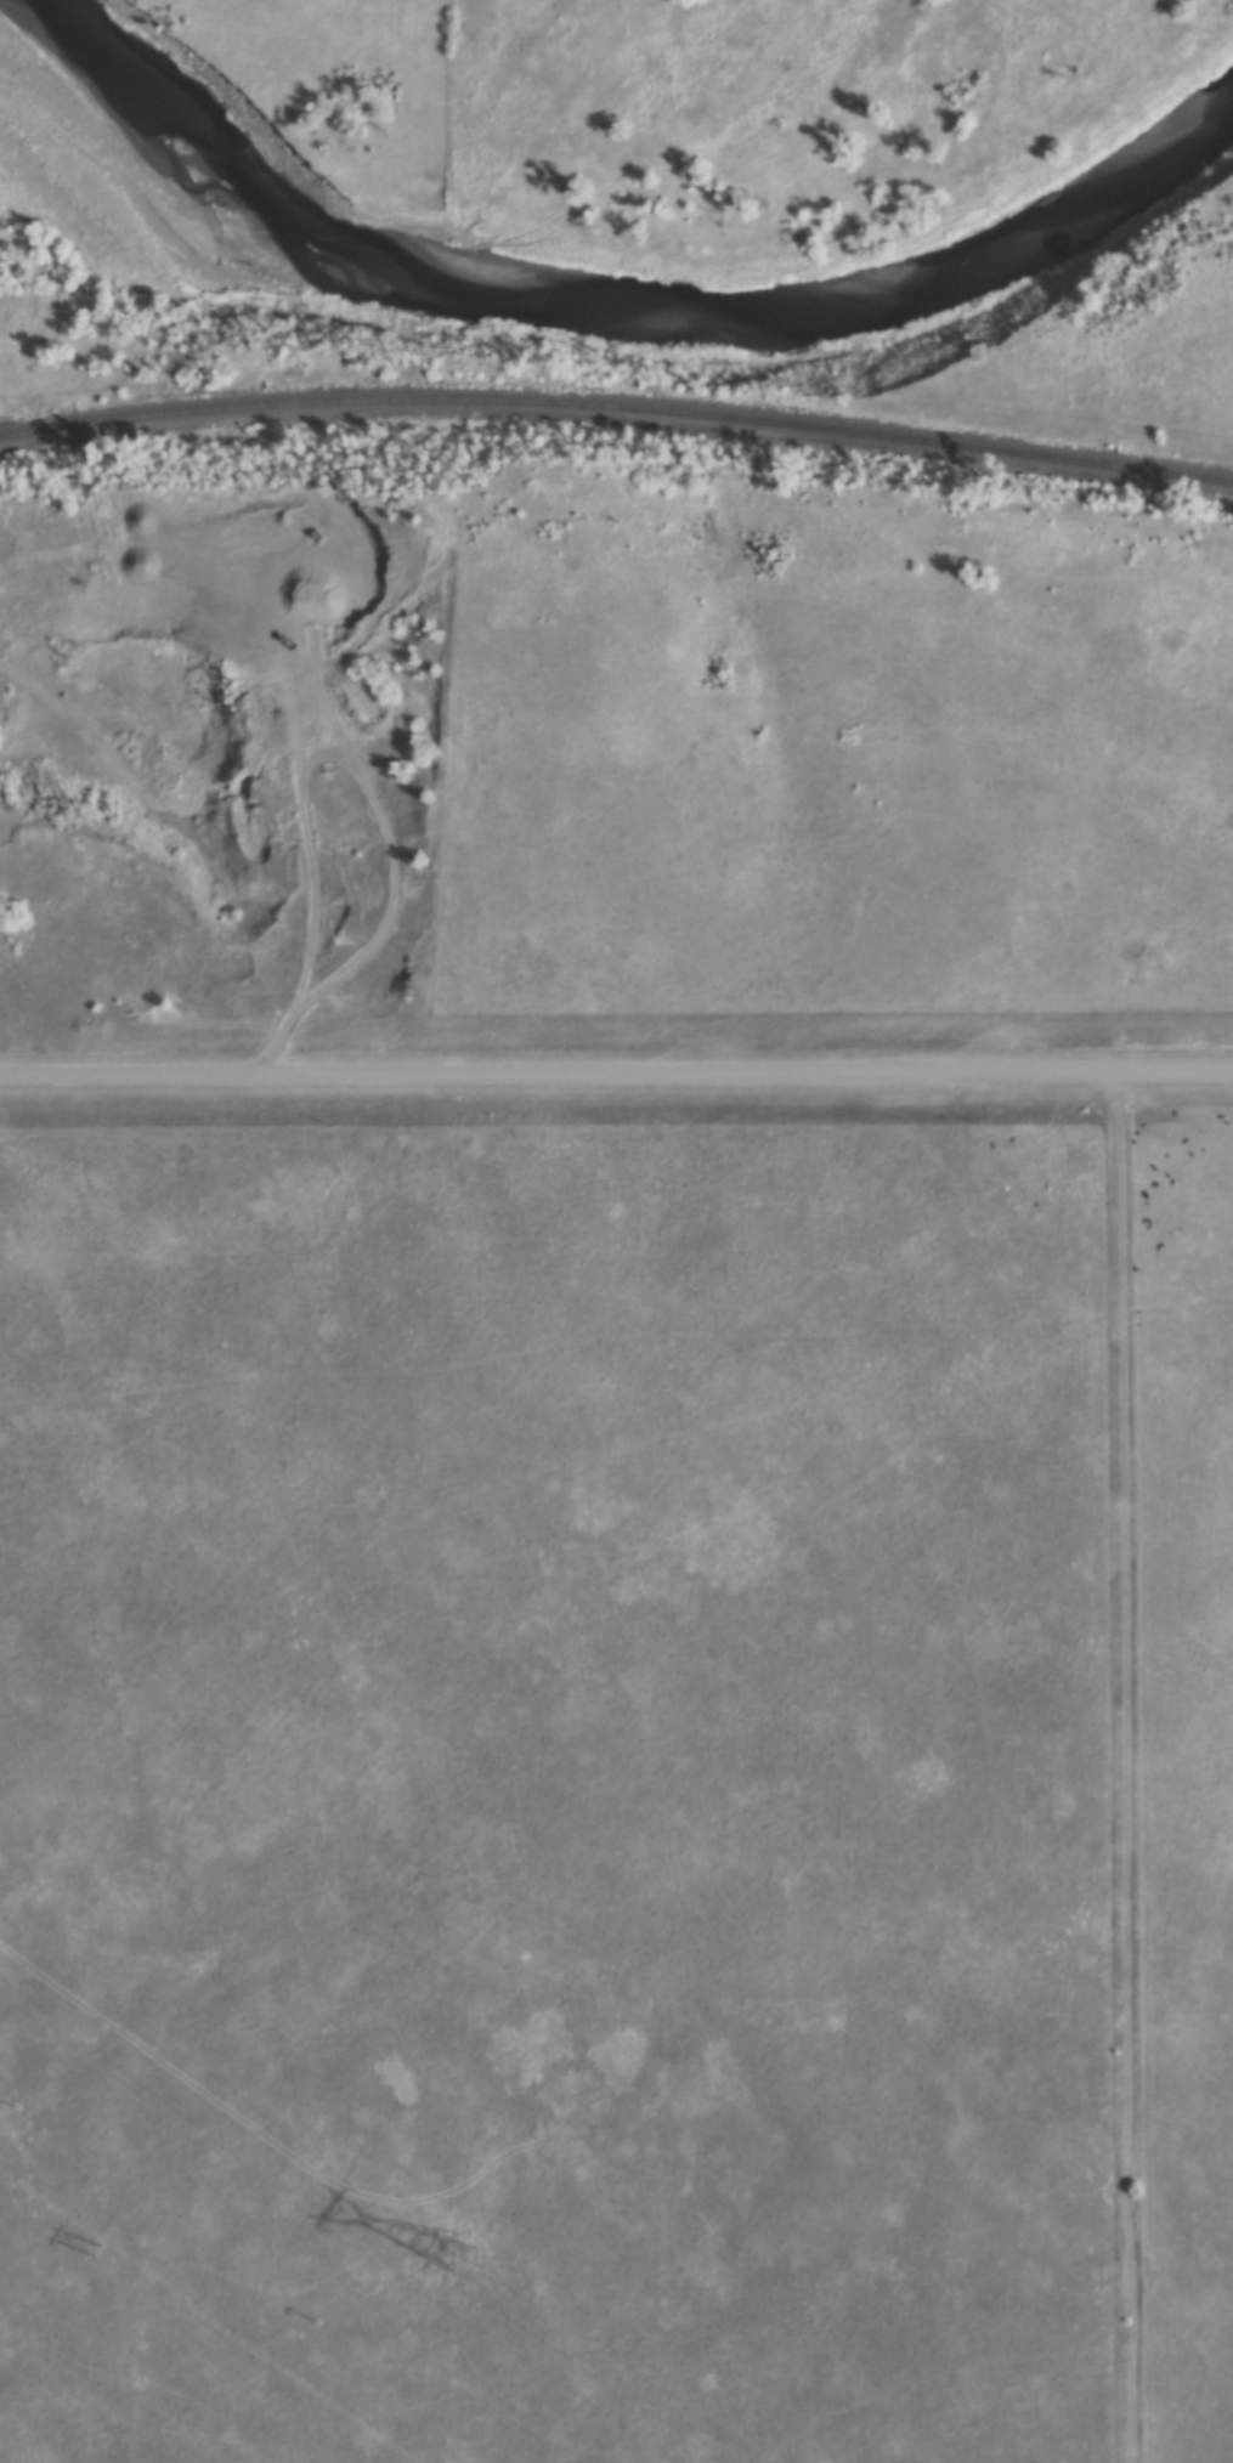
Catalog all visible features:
railway: (617, 413)
quarry: (259, 689)
road: (390, 910)
road: (616, 1072)
power tower: (430, 2261)

